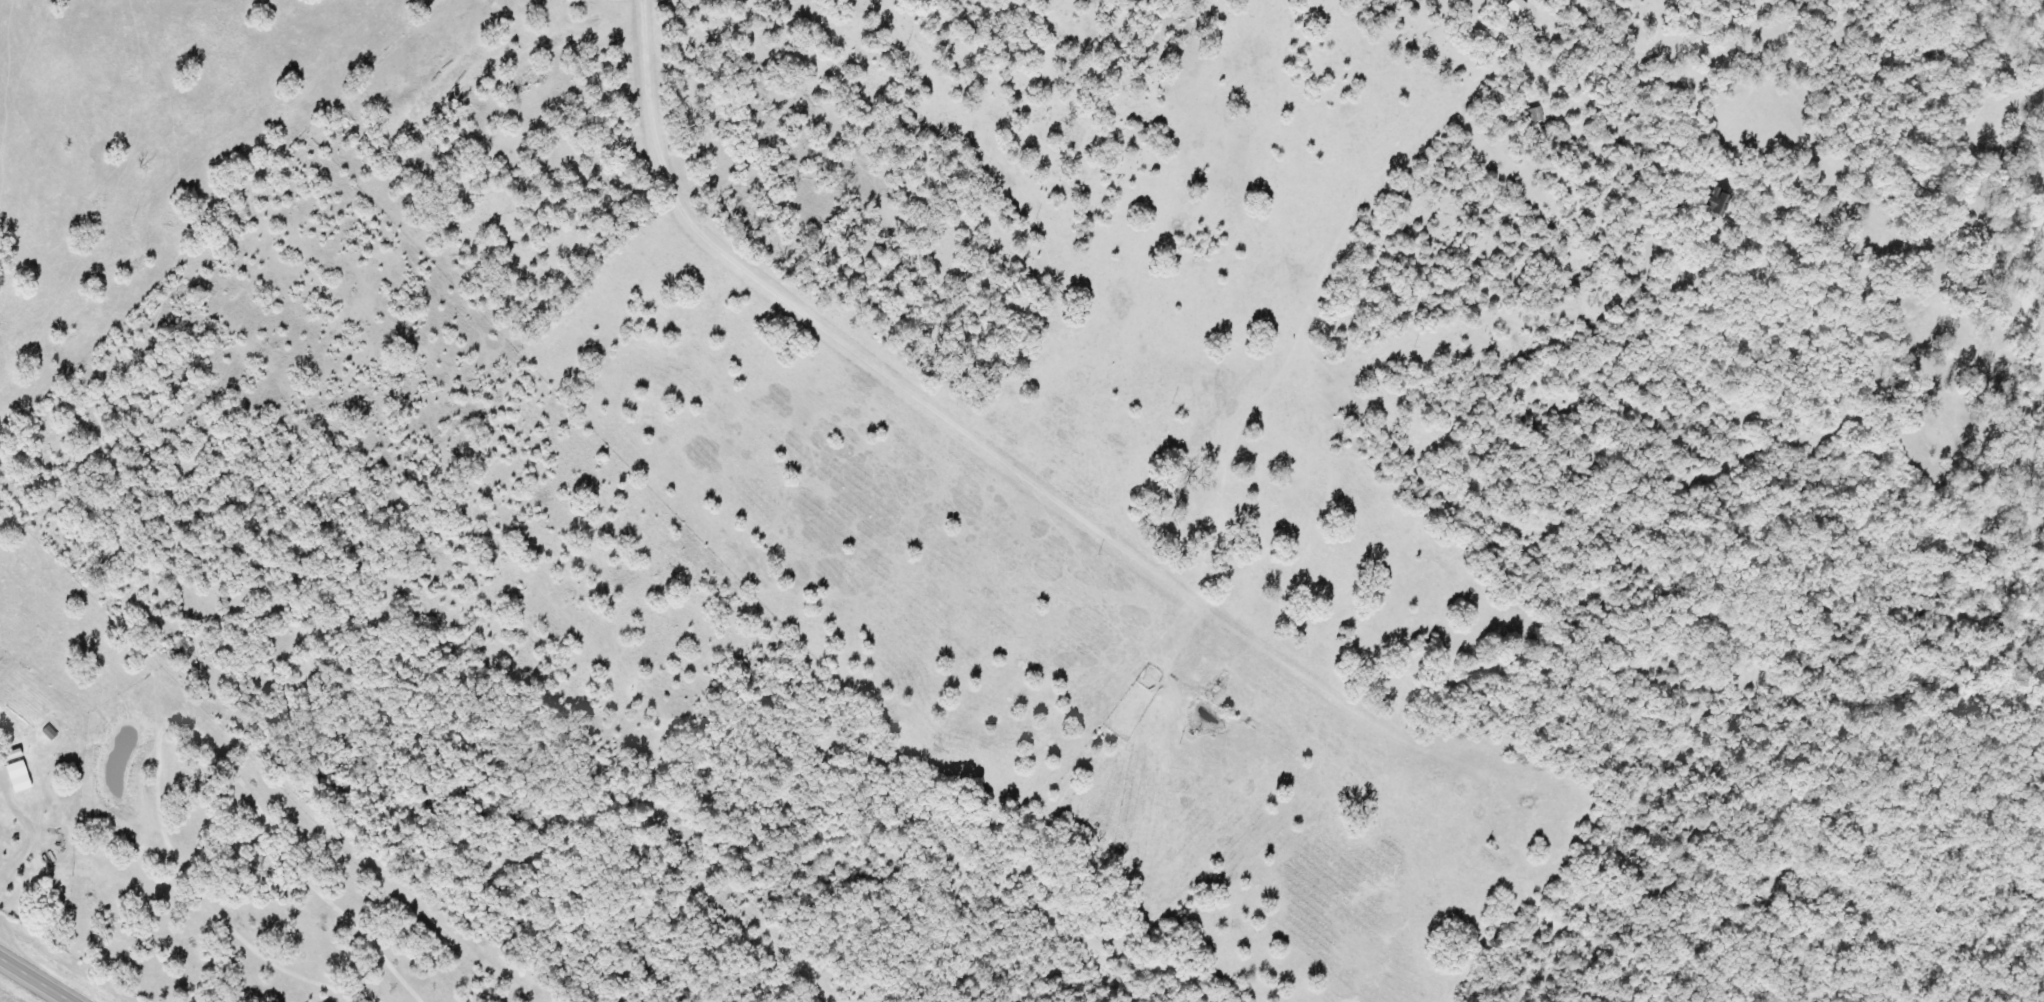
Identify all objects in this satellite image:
building: (1704, 203)
building: (53, 734)
building: (21, 777)
building: (0, 793)
road: (36, 843)
road: (36, 979)

